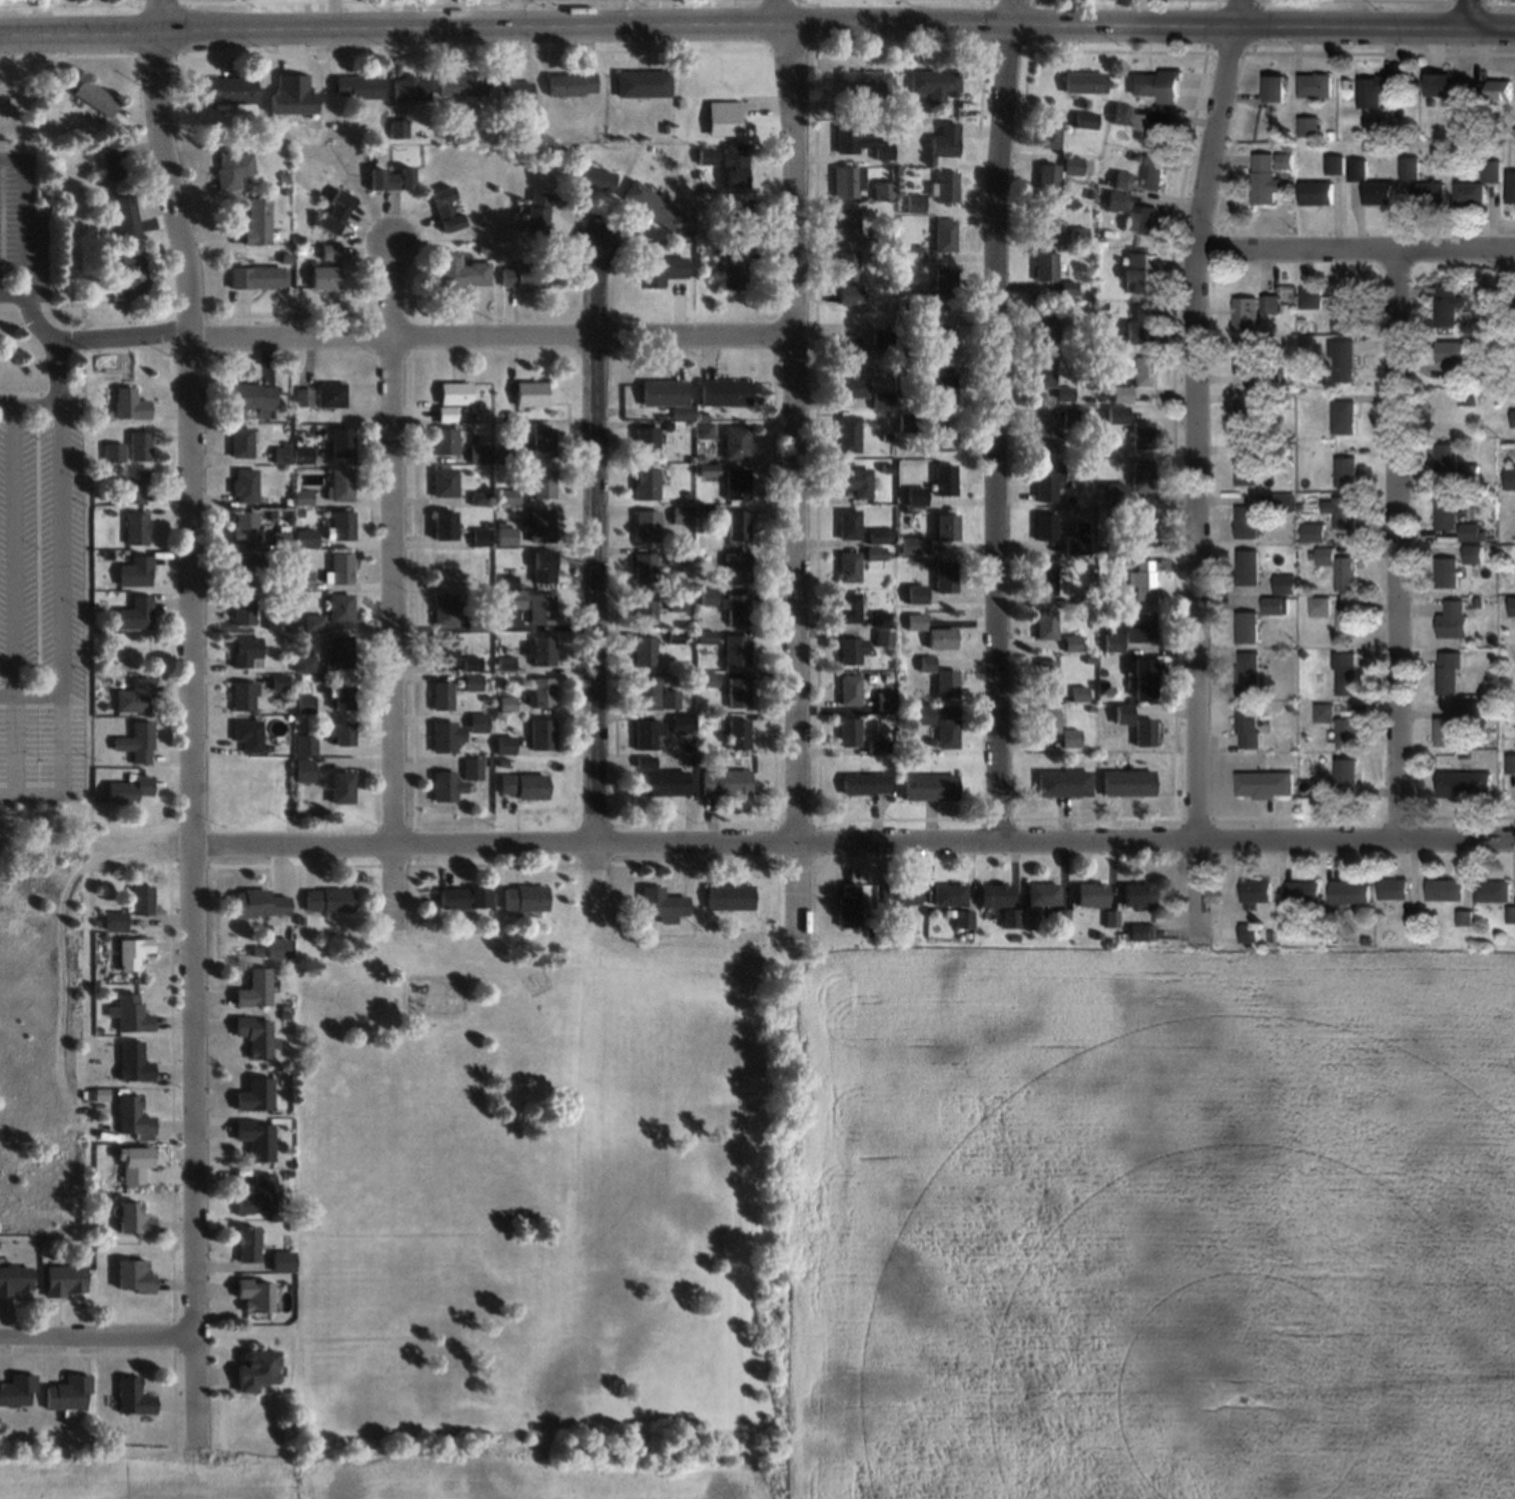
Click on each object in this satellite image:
park: (1356, 4)
road: (1466, 13)
road: (158, 17)
road: (812, 24)
road: (1491, 27)
road: (79, 35)
building: (1083, 82)
building: (569, 84)
building: (640, 84)
building: (863, 84)
building: (1442, 84)
building: (459, 85)
building: (933, 85)
building: (1158, 85)
building: (1316, 85)
building: (355, 87)
building: (407, 87)
building: (1276, 89)
building: (1498, 89)
building: (225, 90)
building: (511, 90)
building: (1375, 90)
building: (94, 98)
building: (720, 117)
building: (1085, 120)
building: (1309, 126)
building: (396, 128)
building: (1160, 132)
building: (1050, 133)
building: (858, 141)
building: (943, 141)
building: (704, 155)
building: (1284, 160)
building: (113, 162)
building: (732, 164)
building: (1335, 164)
building: (1072, 166)
building: (1409, 167)
building: (232, 168)
building: (1357, 170)
building: (1154, 173)
building: (389, 178)
building: (590, 178)
building: (1048, 179)
building: (1265, 179)
building: (846, 181)
building: (1123, 181)
road: (170, 184)
building: (944, 187)
building: (882, 189)
building: (1512, 189)
building: (1317, 191)
building: (1429, 192)
building: (1379, 194)
building: (1473, 194)
building: (1117, 201)
building: (914, 203)
building: (650, 206)
building: (446, 208)
building: (334, 211)
road: (27, 212)
building: (534, 212)
building: (733, 213)
building: (126, 216)
building: (257, 220)
building: (1045, 220)
building: (1142, 220)
building: (846, 223)
parking lot: (22, 228)
building: (943, 235)
building: (1077, 235)
building: (329, 252)
building: (913, 253)
road: (1354, 256)
building: (847, 265)
building: (731, 267)
building: (1044, 267)
building: (659, 270)
building: (460, 271)
building: (1138, 271)
building: (132, 273)
building: (523, 276)
building: (256, 277)
building: (324, 277)
building: (944, 283)
building: (849, 295)
road: (14, 296)
building: (1311, 298)
building: (1271, 304)
building: (1449, 306)
building: (1246, 314)
building: (1346, 317)
road: (35, 322)
building: (1140, 326)
building: (1045, 330)
road: (491, 335)
road: (123, 336)
building: (880, 337)
building: (943, 342)
building: (848, 351)
building: (1449, 352)
building: (1246, 357)
building: (1344, 361)
building: (1140, 369)
road: (58, 372)
building: (1454, 372)
building: (1044, 373)
building: (852, 388)
building: (944, 389)
building: (723, 392)
road: (41, 393)
building: (330, 394)
building: (530, 394)
building: (1121, 394)
building: (253, 396)
building: (303, 397)
building: (666, 397)
building: (453, 400)
building: (880, 400)
building: (130, 404)
road: (29, 405)
building: (1118, 415)
building: (1345, 417)
building: (1246, 418)
building: (1514, 419)
building: (905, 422)
road: (1002, 423)
building: (703, 431)
building: (847, 433)
building: (1143, 435)
building: (1045, 438)
building: (445, 440)
building: (944, 440)
building: (542, 441)
building: (242, 442)
building: (645, 442)
building: (734, 442)
building: (340, 443)
building: (139, 446)
building: (301, 454)
building: (478, 454)
building: (281, 455)
building: (1449, 458)
building: (1247, 469)
building: (707, 470)
road: (795, 470)
building: (1347, 471)
road: (84, 474)
road: (1195, 474)
building: (1141, 476)
building: (944, 479)
building: (1047, 480)
building: (1511, 480)
building: (855, 481)
building: (444, 482)
building: (542, 483)
building: (735, 483)
building: (645, 484)
building: (340, 485)
building: (135, 486)
building: (245, 486)
building: (1114, 491)
building: (506, 496)
building: (915, 496)
building: (1283, 502)
building: (1343, 510)
building: (1447, 512)
building: (679, 514)
building: (1248, 522)
building: (848, 524)
building: (445, 525)
building: (538, 525)
building: (737, 525)
building: (1143, 525)
building: (341, 526)
building: (646, 526)
building: (1046, 526)
building: (244, 527)
building: (945, 527)
building: (137, 528)
building: (1474, 531)
building: (1315, 533)
building: (505, 536)
building: (879, 536)
building: (480, 537)
building: (306, 539)
building: (913, 545)
building: (1066, 546)
road: (1398, 550)
road: (595, 551)
building: (875, 553)
building: (1474, 553)
building: (543, 566)
building: (849, 566)
building: (643, 567)
building: (734, 567)
building: (1248, 567)
building: (341, 568)
building: (1340, 568)
building: (244, 569)
building: (136, 571)
building: (1448, 572)
building: (944, 576)
building: (1045, 578)
building: (303, 579)
building: (1142, 580)
building: (1285, 584)
road: (392, 589)
building: (916, 594)
building: (706, 596)
road: (13, 599)
building: (678, 602)
building: (1275, 605)
building: (1321, 606)
building: (1513, 606)
building: (734, 607)
building: (849, 607)
parking lot: (41, 608)
building: (340, 608)
building: (444, 608)
building: (541, 608)
building: (243, 609)
building: (645, 609)
building: (135, 613)
building: (881, 619)
building: (1454, 620)
building: (916, 621)
building: (1348, 621)
building: (313, 622)
building: (1046, 624)
building: (1140, 626)
building: (1248, 627)
road: (60, 629)
building: (882, 638)
building: (940, 638)
building: (1113, 639)
building: (1071, 643)
building: (445, 649)
building: (851, 649)
building: (541, 650)
building: (736, 650)
building: (341, 651)
building: (644, 651)
building: (246, 652)
building: (925, 663)
building: (305, 664)
building: (472, 664)
building: (1347, 673)
building: (1448, 673)
building: (1249, 674)
building: (1046, 676)
building: (1142, 678)
building: (705, 679)
building: (278, 681)
building: (473, 682)
building: (945, 683)
building: (849, 690)
building: (541, 692)
building: (735, 692)
building: (1079, 693)
road: (30, 694)
building: (653, 694)
building: (135, 696)
building: (244, 696)
building: (443, 696)
building: (341, 697)
building: (884, 700)
building: (306, 703)
building: (507, 703)
building: (1325, 712)
building: (923, 714)
building: (1123, 714)
building: (1047, 720)
building: (478, 723)
building: (681, 723)
building: (1249, 727)
building: (848, 731)
building: (1449, 731)
building: (1144, 732)
building: (1348, 732)
building: (340, 733)
building: (542, 733)
building: (737, 733)
building: (946, 733)
building: (647, 734)
building: (248, 735)
building: (444, 737)
building: (1069, 738)
building: (137, 742)
building: (306, 744)
building: (505, 745)
building: (875, 746)
building: (1512, 764)
building: (474, 767)
building: (305, 771)
building: (1349, 772)
building: (725, 782)
building: (664, 783)
building: (864, 783)
building: (1063, 783)
building: (1128, 783)
building: (339, 784)
building: (1465, 784)
building: (1265, 785)
building: (1323, 785)
building: (446, 786)
building: (523, 786)
building: (929, 787)
building: (128, 790)
road: (855, 848)
road: (195, 887)
building: (1394, 889)
building: (1445, 890)
building: (1257, 891)
building: (1493, 891)
building: (1303, 892)
building: (1350, 893)
building: (948, 895)
building: (993, 895)
building: (1042, 895)
building: (1091, 895)
building: (1138, 895)
building: (729, 897)
building: (525, 898)
building: (897, 898)
building: (464, 899)
building: (142, 900)
building: (329, 900)
building: (259, 904)
building: (662, 904)
building: (847, 904)
building: (1414, 915)
building: (1465, 917)
building: (1010, 918)
building: (962, 919)
building: (1110, 919)
building: (115, 921)
building: (1141, 932)
building: (1249, 932)
building: (273, 948)
building: (132, 953)
building: (255, 989)
building: (130, 1013)
building: (256, 1036)
building: (133, 1062)
building: (255, 1094)
building: (132, 1118)
building: (256, 1138)
building: (135, 1163)
building: (258, 1196)
park: (538, 1197)
building: (134, 1219)
road: (792, 1220)
crop: (1088, 1242)
building: (247, 1244)
building: (282, 1262)
building: (134, 1275)
building: (14, 1279)
building: (65, 1281)
building: (255, 1294)
road: (97, 1337)
building: (257, 1370)
building: (17, 1390)
building: (68, 1394)
building: (133, 1397)

